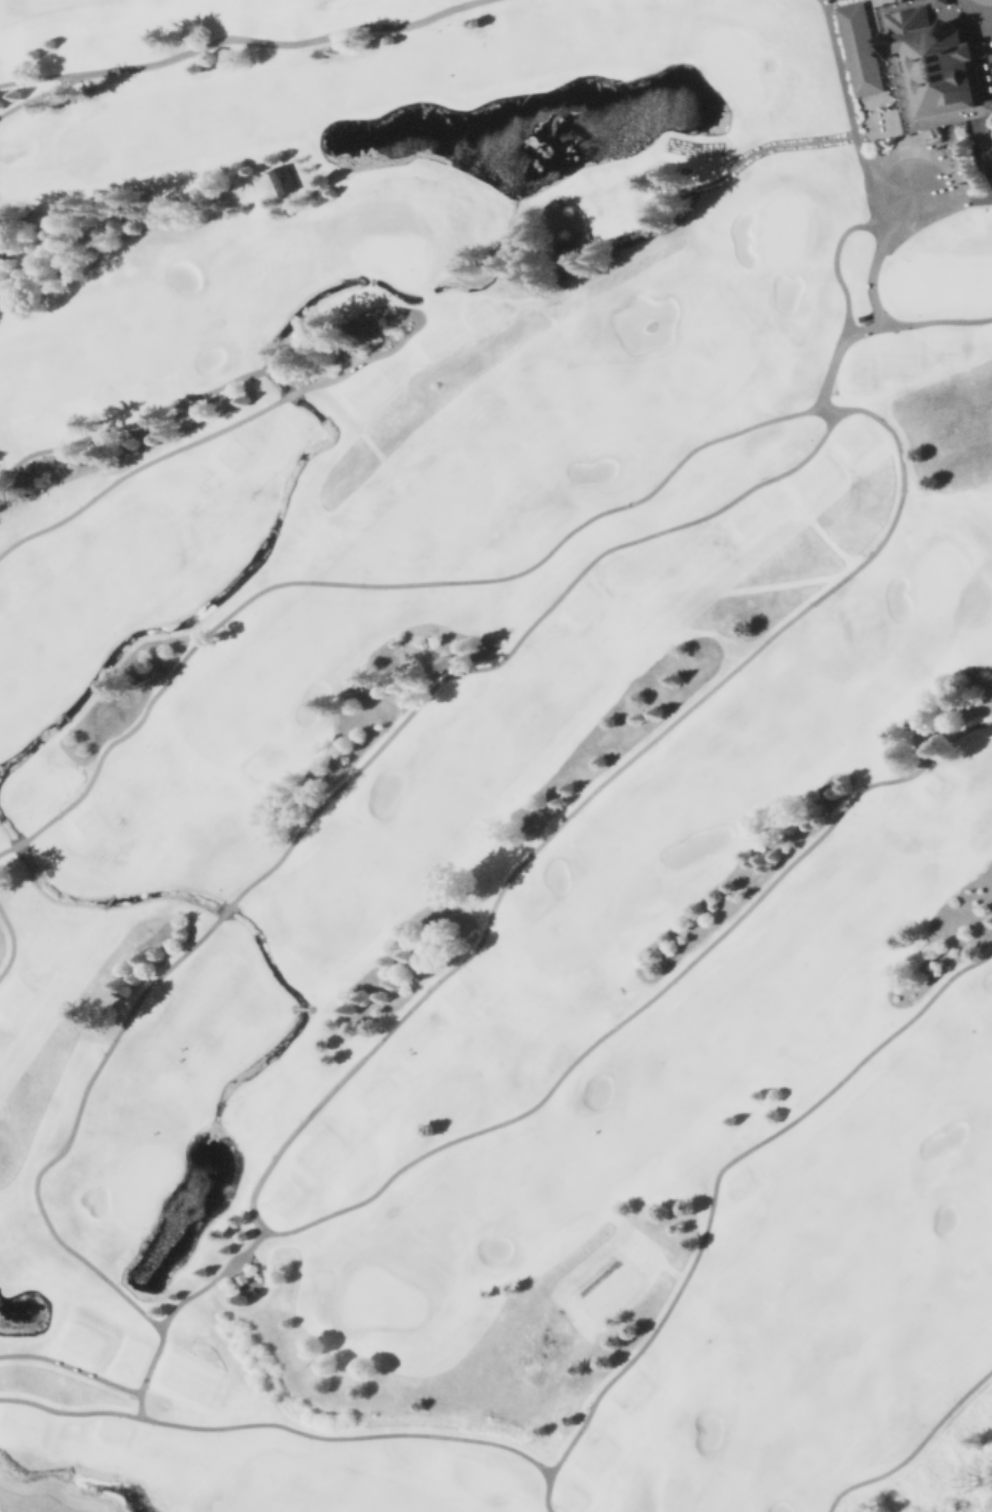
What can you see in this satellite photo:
building: (940, 2)
road: (978, 10)
road: (238, 37)
building: (859, 47)
building: (935, 66)
road: (844, 90)
road: (40, 93)
road: (763, 147)
road: (985, 153)
building: (284, 183)
road: (949, 189)
road: (885, 225)
building: (564, 253)
road: (415, 315)
road: (936, 319)
road: (275, 363)
road: (290, 394)
road: (826, 408)
road: (130, 422)
road: (134, 467)
road: (560, 539)
park: (496, 756)
road: (548, 834)
road: (19, 841)
road: (5, 849)
road: (226, 909)
road: (12, 942)
road: (45, 1219)
road: (213, 1278)
road: (139, 1402)
road: (588, 1412)
road: (915, 1448)
road: (545, 1491)

